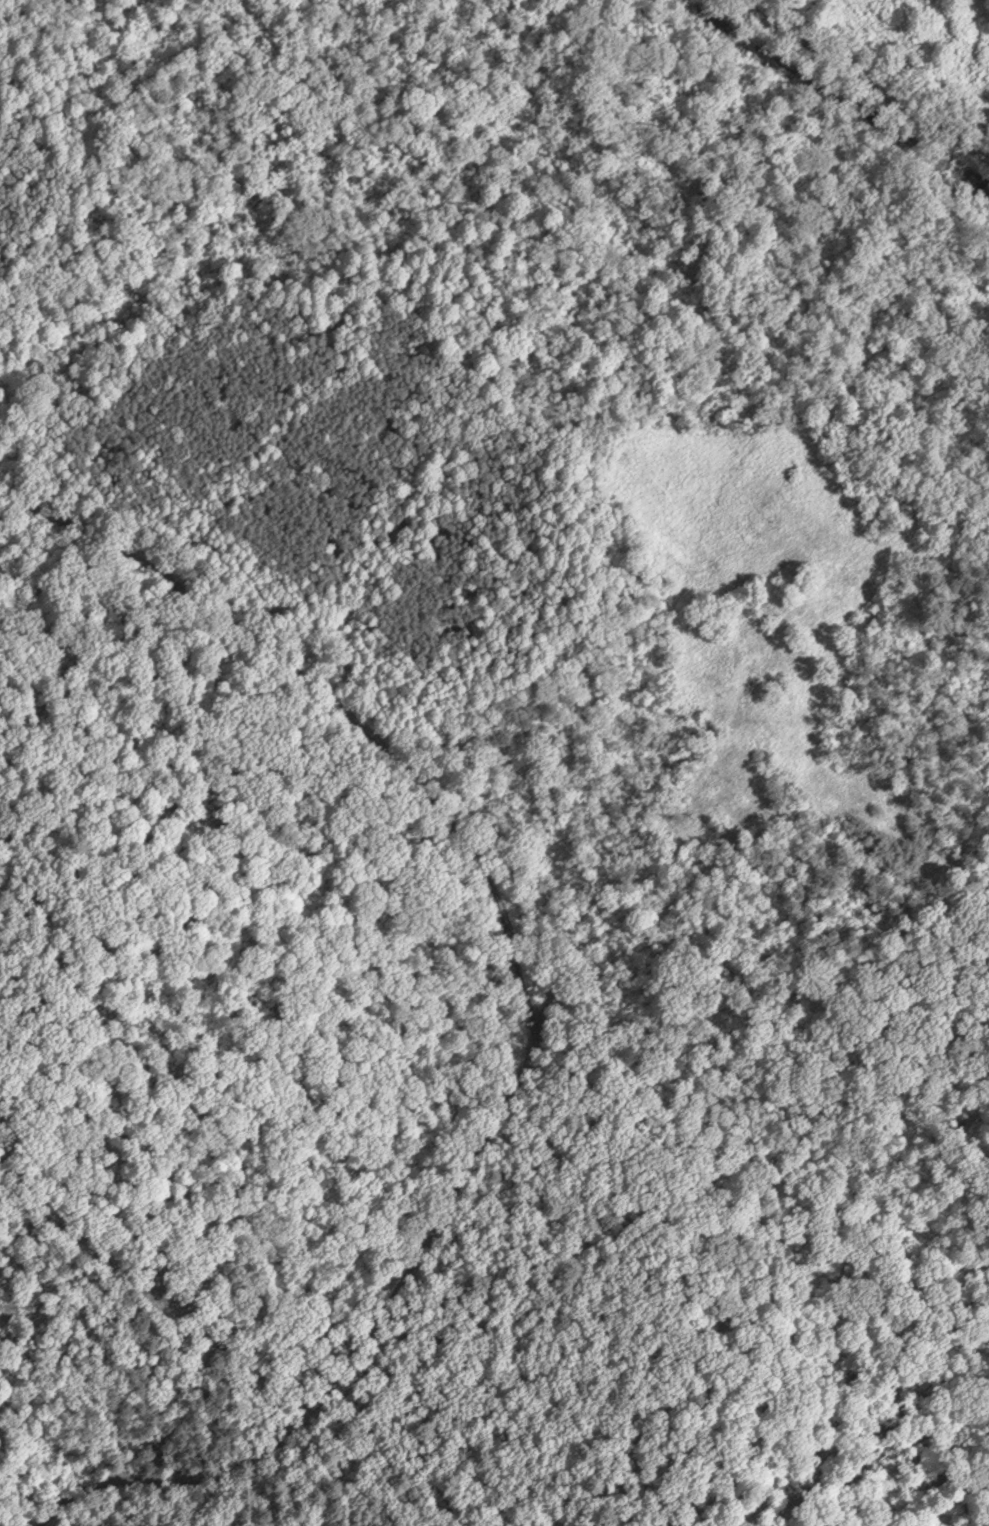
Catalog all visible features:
road: (863, 81)
road: (527, 1013)

